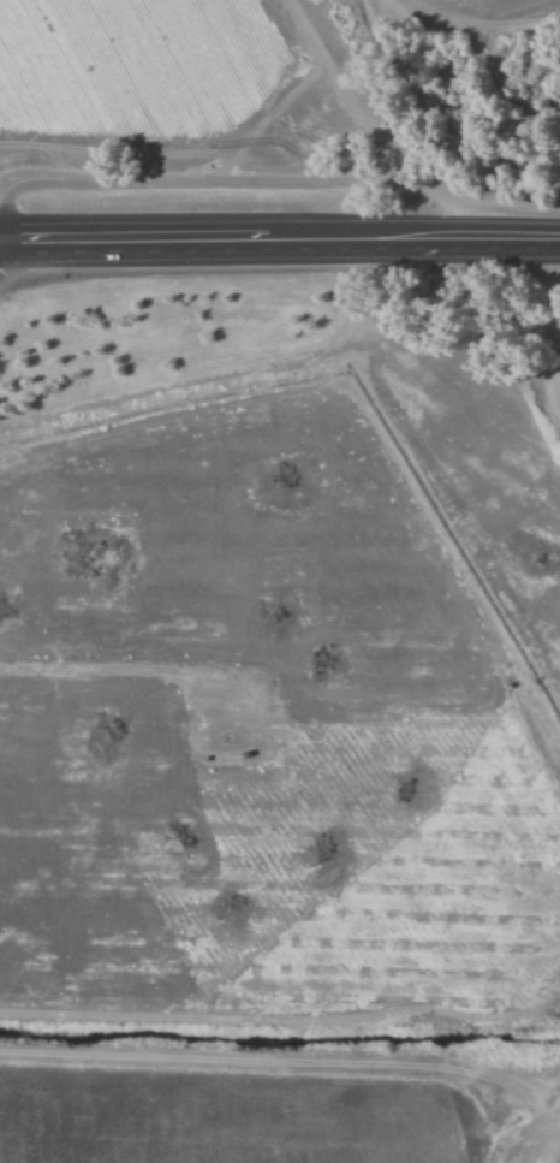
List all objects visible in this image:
road: (278, 174)
road: (198, 235)
road: (478, 235)
railway: (280, 314)
road: (556, 1158)

